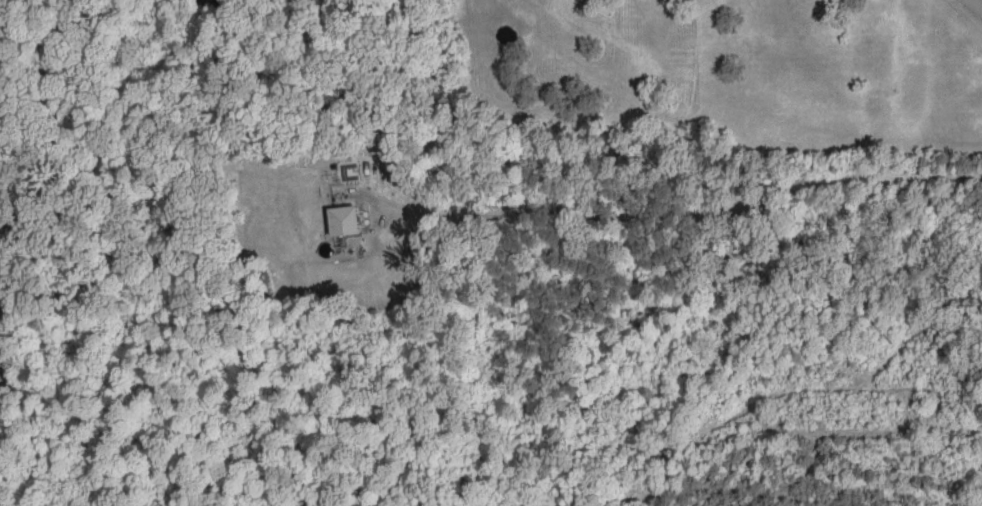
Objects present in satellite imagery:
road: (977, 3)
road: (684, 215)
building: (343, 220)

